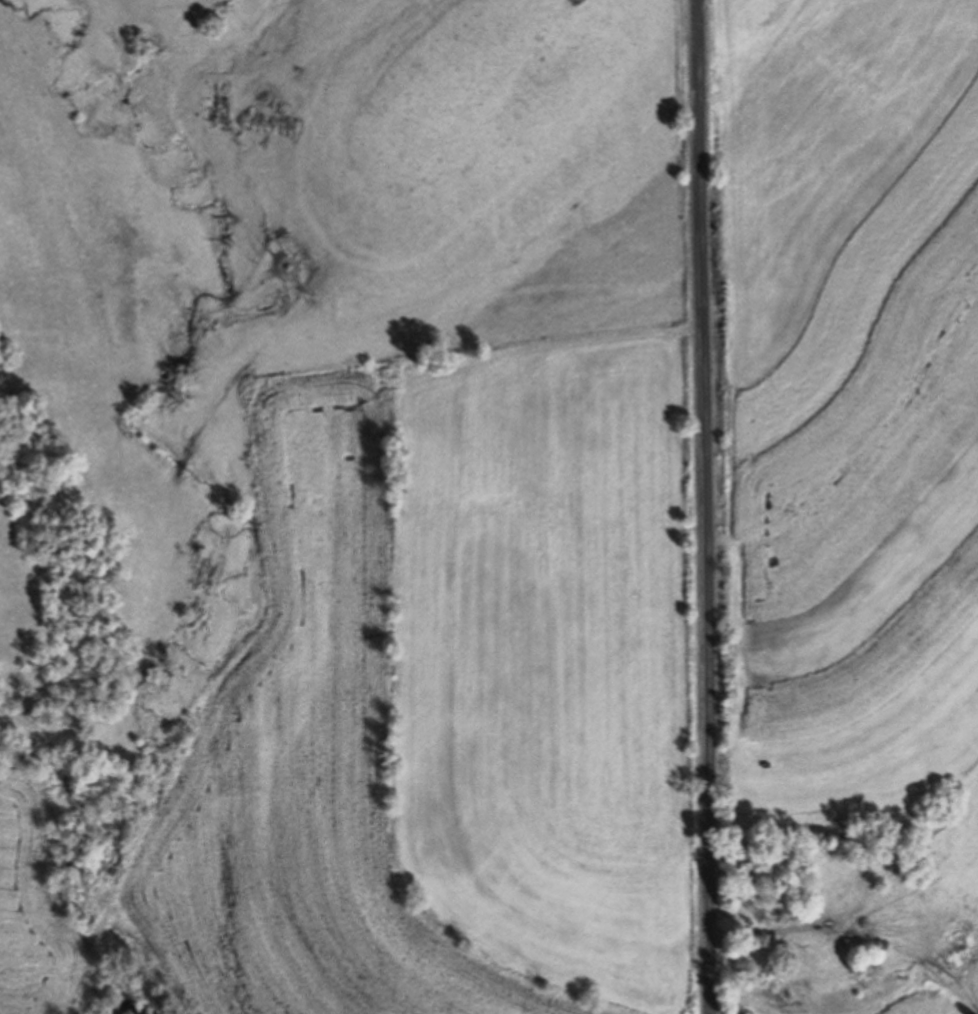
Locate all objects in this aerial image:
road: (703, 507)
building: (897, 902)
building: (923, 927)
building: (857, 931)
building: (816, 952)

